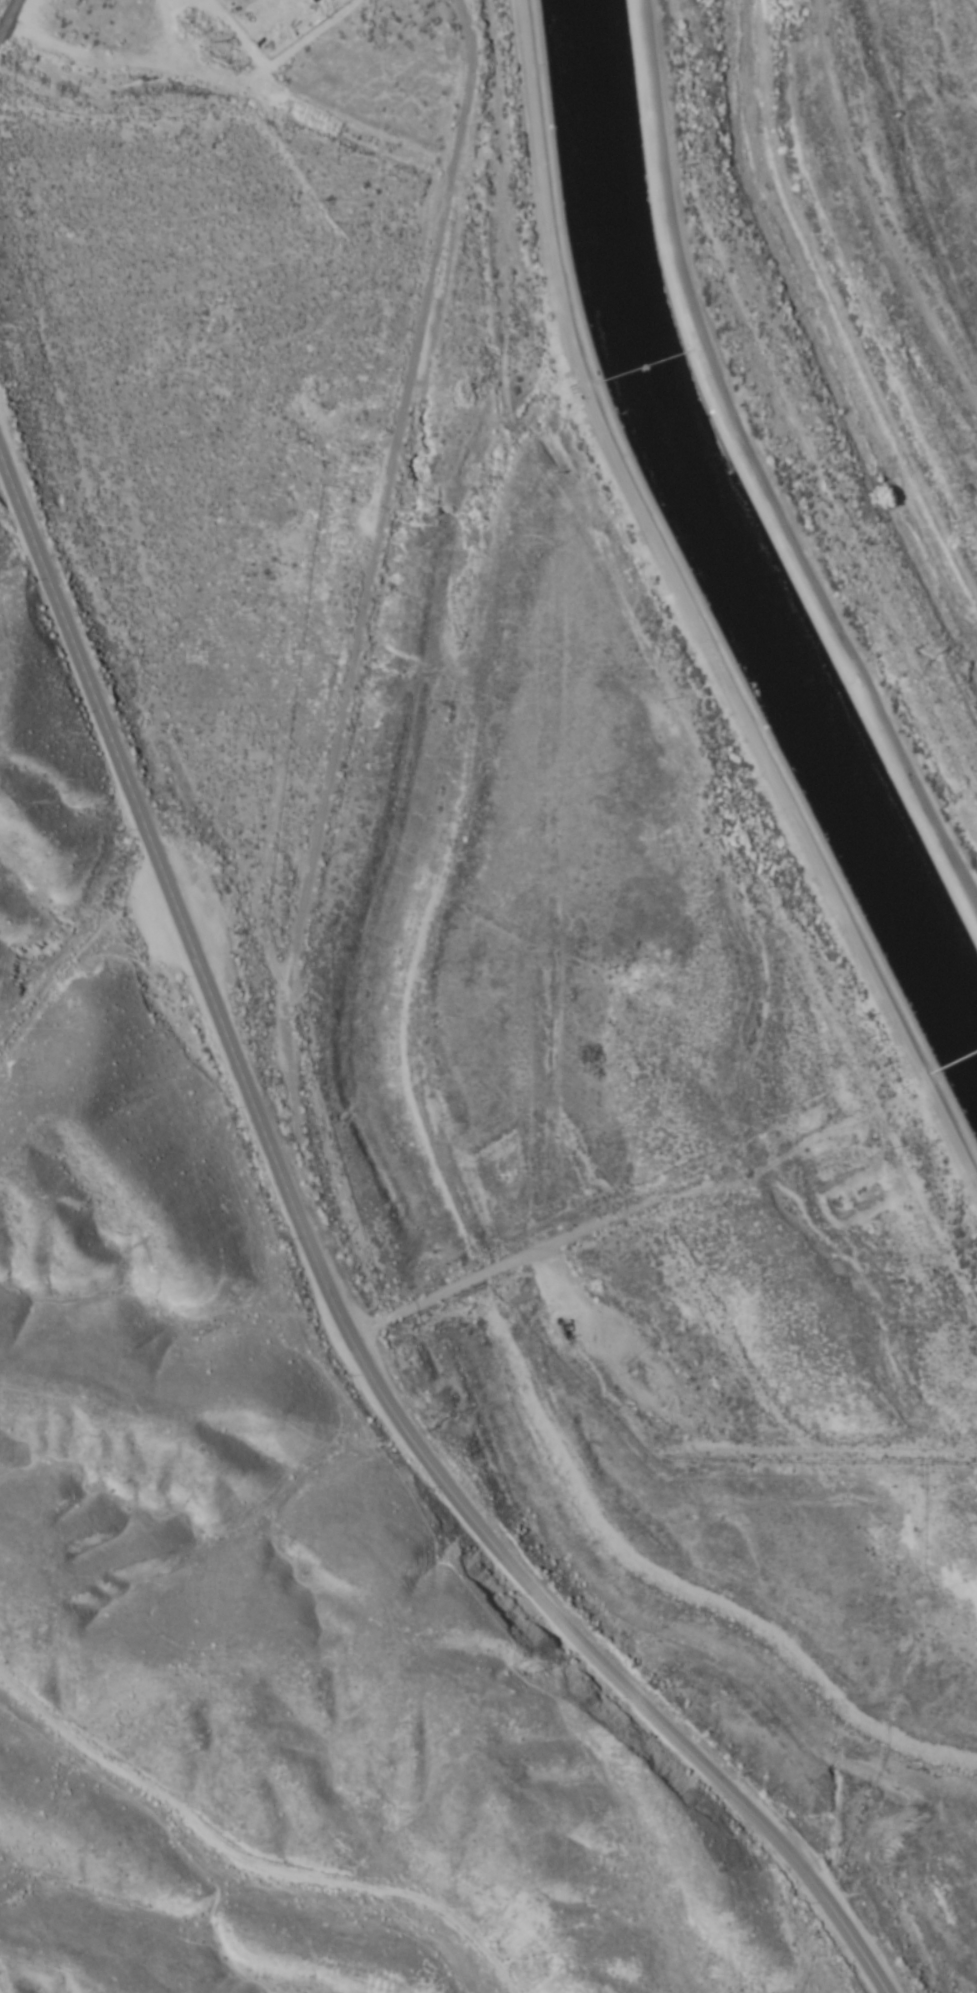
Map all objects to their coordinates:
road: (848, 253)
road: (757, 470)
road: (361, 609)
road: (689, 610)
road: (86, 1007)
road: (330, 1288)
crop: (428, 1404)
road: (280, 1813)

